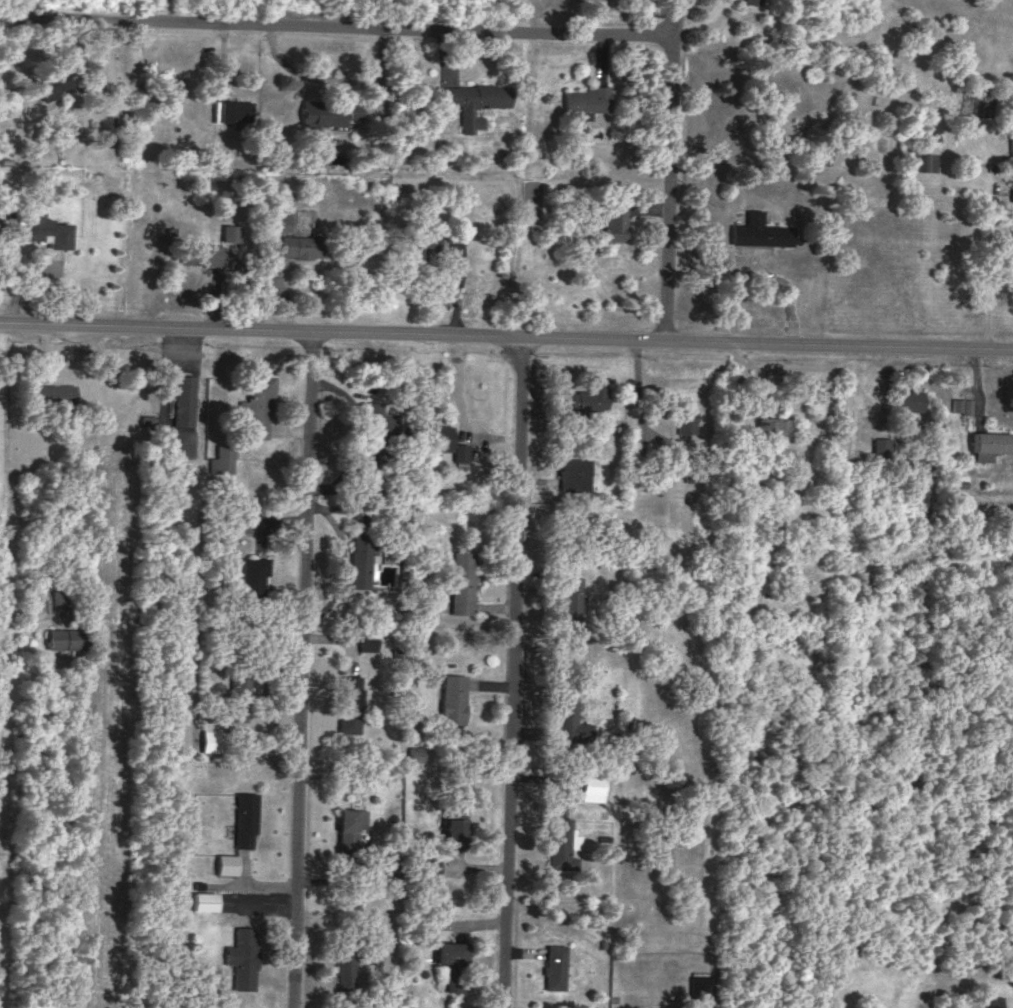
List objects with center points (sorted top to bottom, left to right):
building: (755, 1)
road: (405, 28)
building: (49, 82)
building: (474, 100)
building: (587, 100)
building: (234, 109)
building: (329, 112)
building: (1011, 139)
building: (925, 156)
road: (671, 170)
building: (1011, 198)
building: (614, 217)
building: (281, 220)
building: (44, 228)
building: (760, 230)
building: (231, 231)
building: (421, 242)
building: (303, 245)
building: (204, 252)
road: (989, 268)
road: (506, 336)
road: (0, 362)
building: (54, 393)
building: (579, 398)
building: (911, 398)
building: (184, 399)
building: (962, 404)
building: (258, 405)
building: (686, 420)
building: (777, 427)
building: (377, 429)
building: (437, 437)
building: (991, 443)
building: (881, 445)
building: (461, 453)
building: (222, 458)
building: (574, 473)
building: (240, 523)
building: (361, 560)
building: (254, 574)
building: (464, 581)
building: (570, 597)
building: (59, 598)
road: (21, 630)
building: (68, 637)
building: (369, 640)
road: (303, 669)
road: (514, 672)
building: (238, 695)
building: (453, 698)
building: (350, 703)
building: (569, 718)
building: (212, 734)
building: (415, 753)
building: (593, 787)
building: (246, 818)
building: (453, 824)
building: (349, 830)
building: (563, 844)
building: (227, 863)
road: (240, 886)
building: (204, 900)
building: (243, 957)
building: (345, 959)
building: (452, 962)
building: (555, 965)
building: (701, 985)
building: (993, 1001)
building: (849, 1007)

